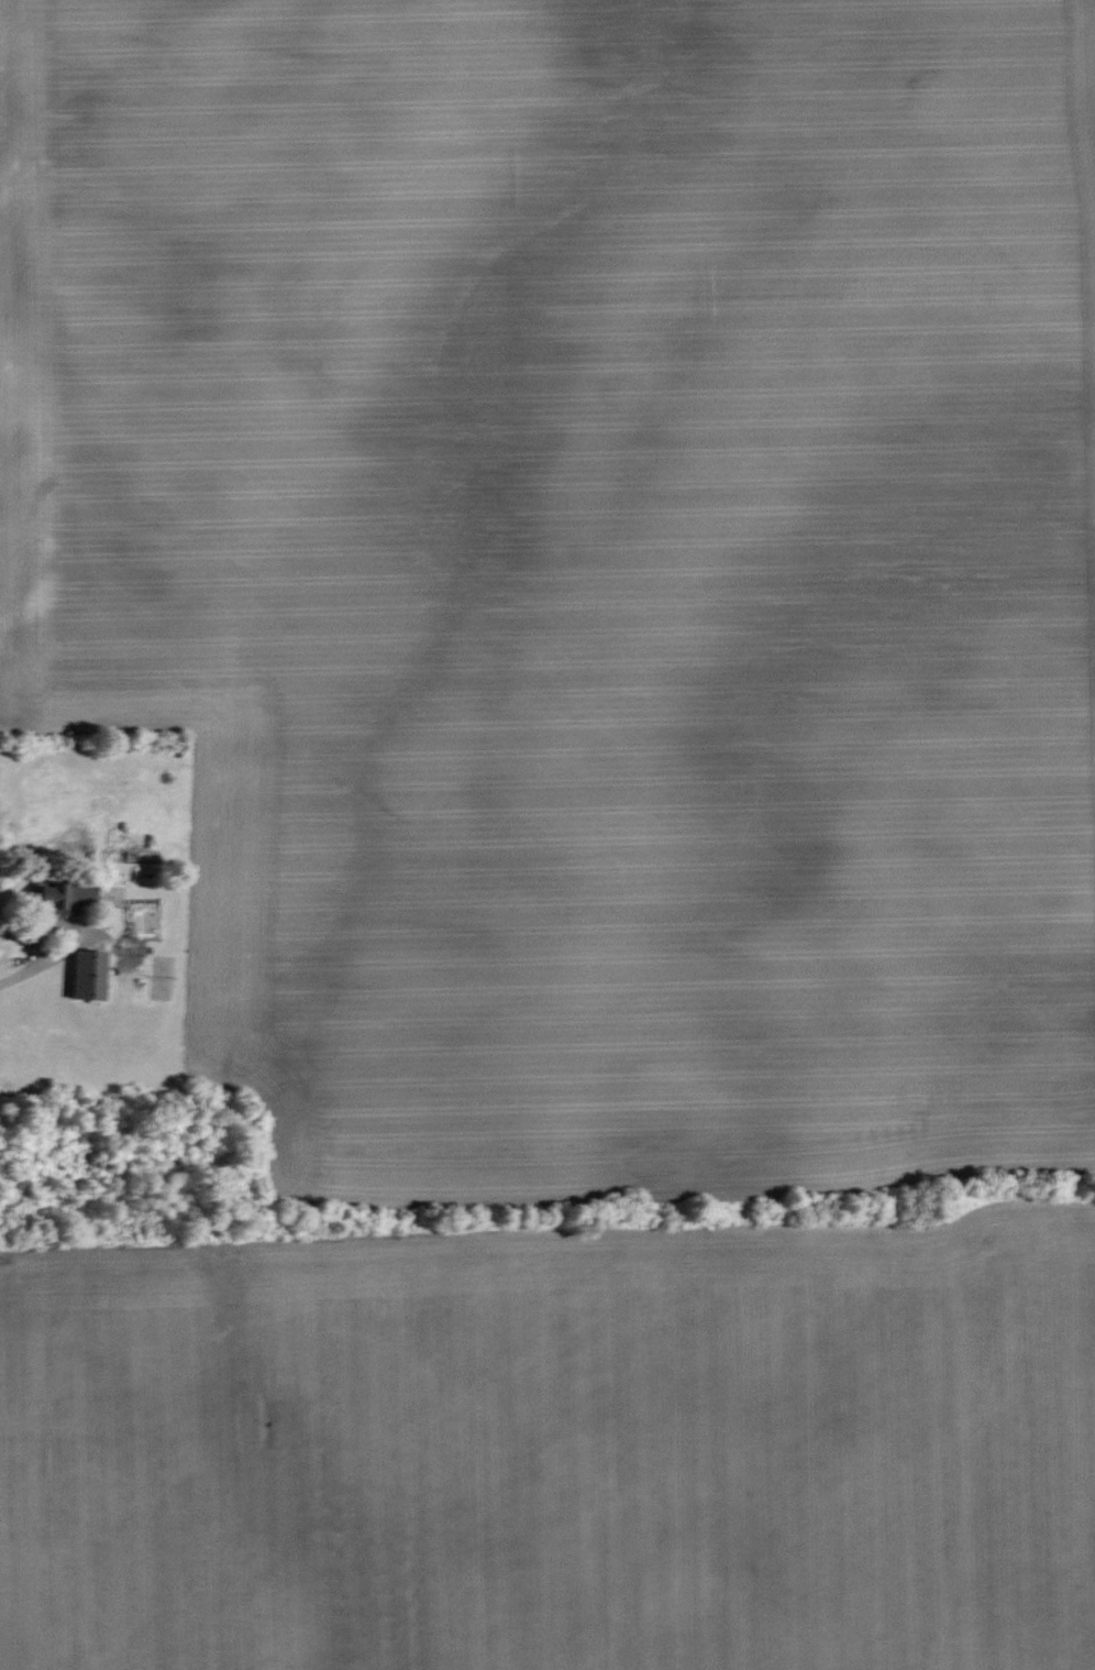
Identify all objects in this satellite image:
building: (70, 898)

